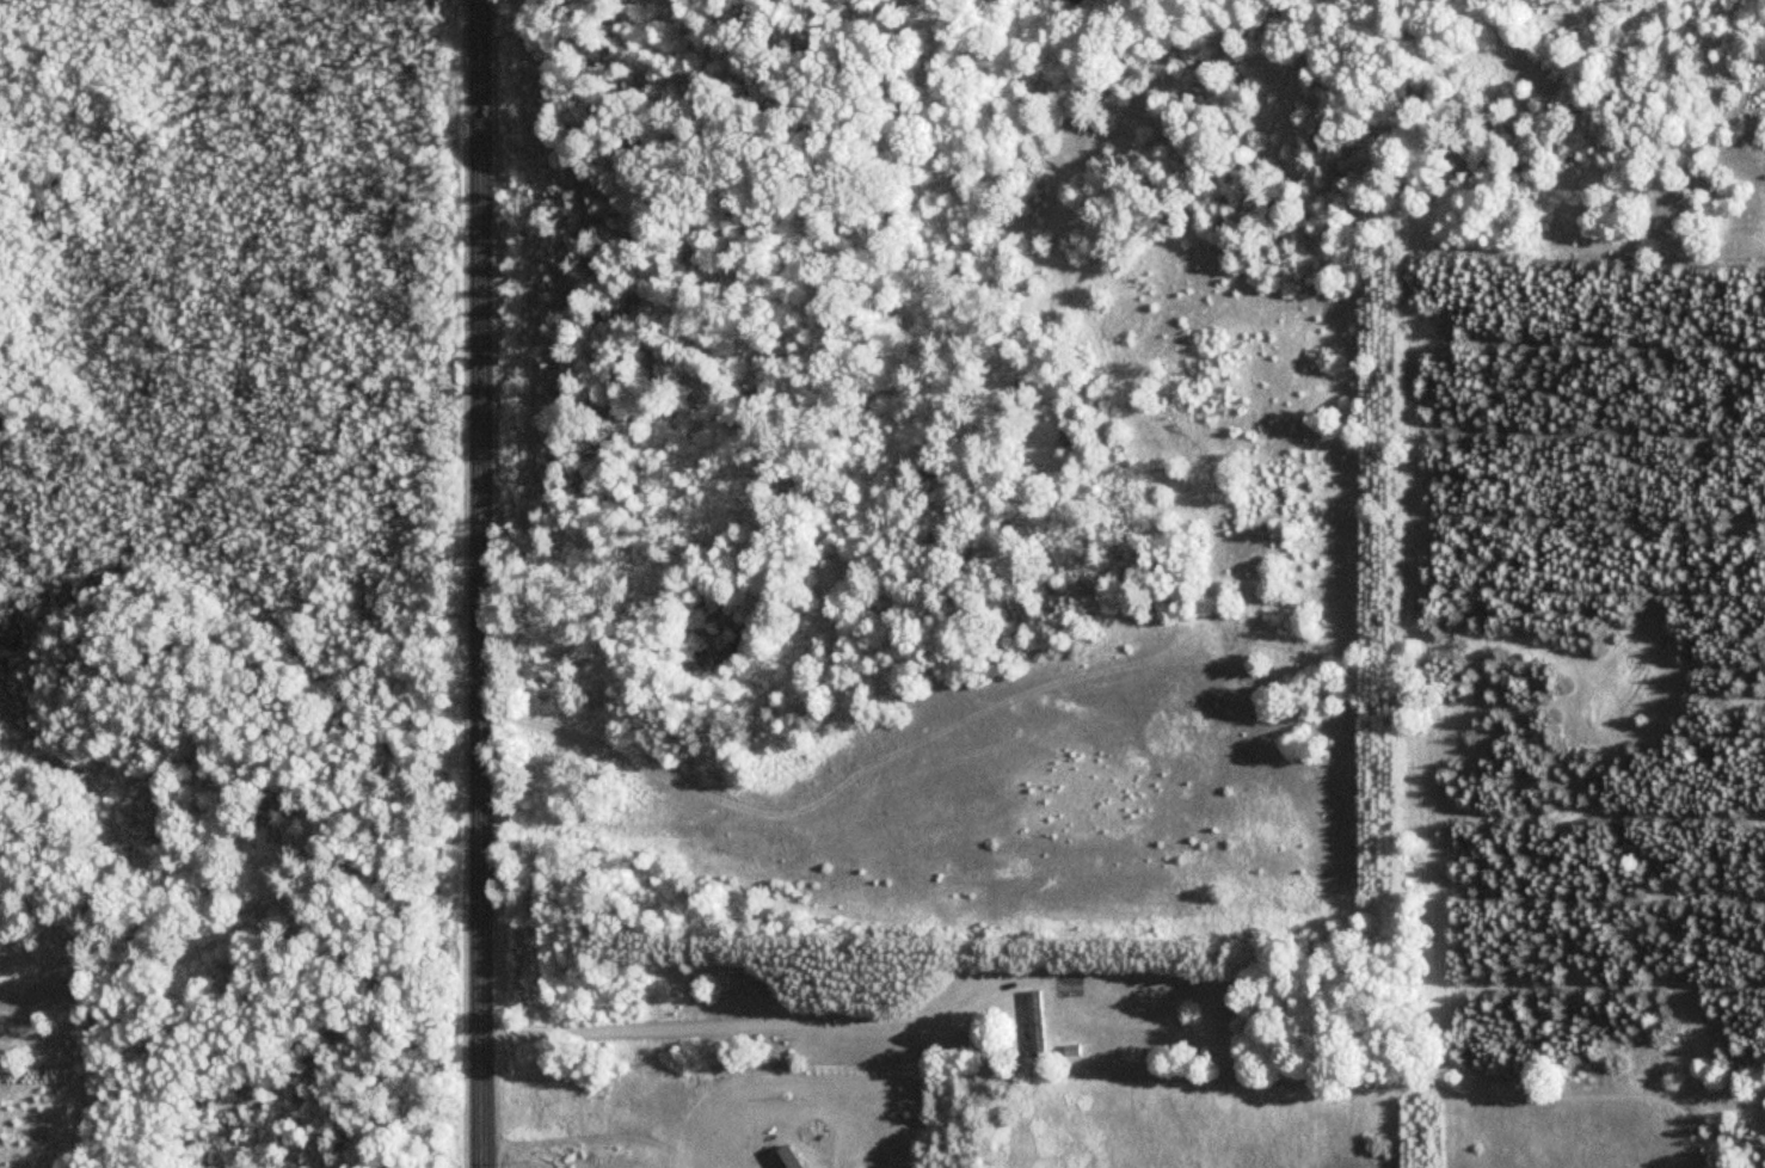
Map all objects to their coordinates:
road: (480, 584)
building: (1035, 1022)
building: (783, 1157)

